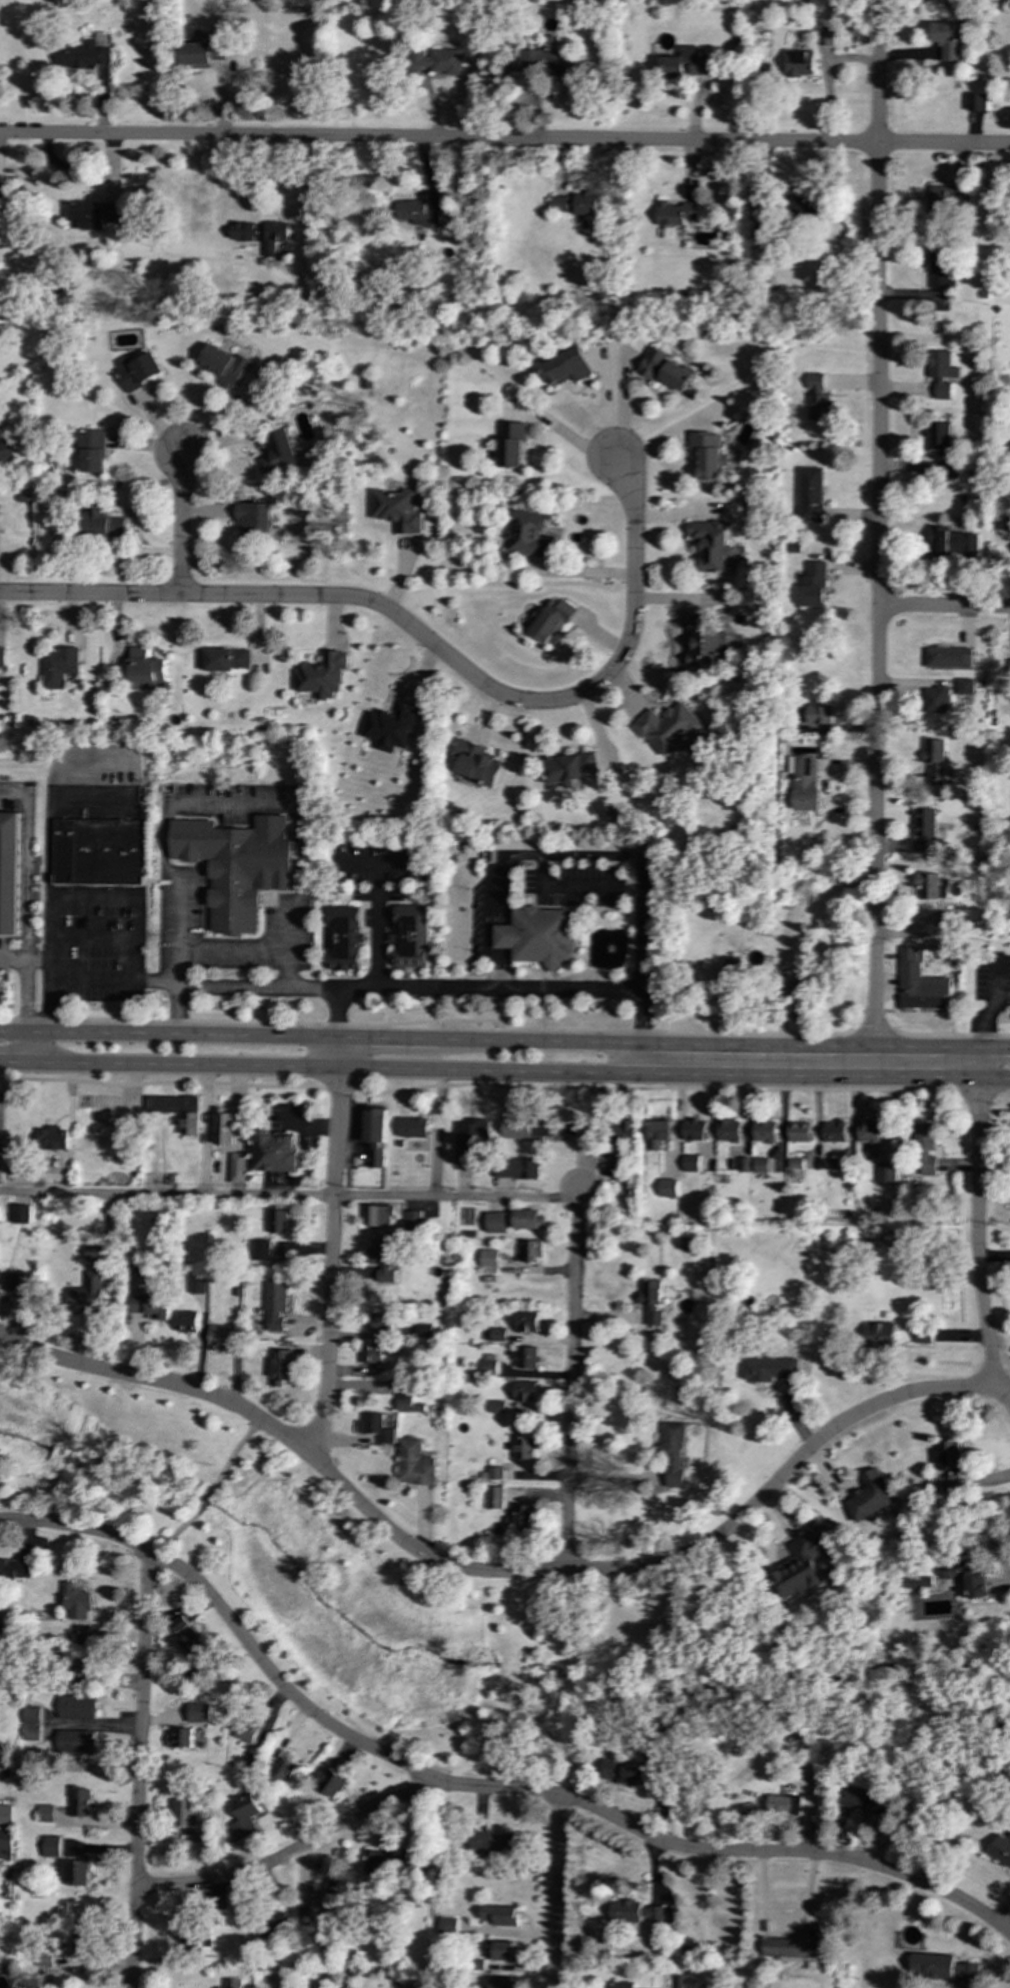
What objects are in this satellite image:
building: (825, 38)
building: (946, 40)
building: (203, 54)
building: (86, 59)
building: (436, 60)
building: (545, 62)
building: (685, 64)
building: (799, 64)
building: (975, 102)
road: (504, 140)
building: (5, 192)
building: (944, 200)
building: (558, 203)
building: (585, 203)
building: (762, 207)
building: (803, 207)
building: (416, 213)
building: (674, 213)
building: (94, 215)
building: (246, 231)
building: (276, 239)
building: (939, 266)
building: (220, 365)
building: (566, 366)
building: (136, 370)
building: (665, 370)
building: (941, 373)
building: (817, 397)
road: (621, 405)
building: (938, 437)
building: (509, 444)
building: (90, 450)
building: (5, 452)
building: (277, 452)
building: (711, 455)
building: (809, 494)
building: (395, 509)
building: (252, 518)
building: (99, 521)
road: (878, 523)
road: (180, 524)
building: (527, 534)
building: (951, 541)
building: (711, 544)
building: (814, 584)
road: (944, 607)
building: (551, 621)
road: (424, 638)
building: (702, 640)
building: (2, 656)
building: (948, 657)
building: (223, 659)
building: (58, 666)
building: (144, 666)
building: (1007, 669)
building: (322, 675)
building: (964, 686)
building: (936, 699)
building: (818, 714)
building: (392, 727)
building: (933, 762)
building: (477, 763)
building: (571, 769)
building: (803, 782)
road: (207, 800)
building: (925, 829)
building: (97, 851)
road: (595, 854)
building: (236, 866)
building: (9, 872)
road: (49, 874)
building: (930, 886)
building: (944, 918)
road: (377, 922)
building: (408, 934)
road: (788, 934)
building: (538, 935)
building: (342, 938)
road: (230, 952)
road: (24, 959)
building: (918, 982)
road: (346, 985)
road: (26, 995)
building: (797, 997)
road: (339, 1010)
road: (425, 1021)
road: (170, 1032)
road: (928, 1035)
road: (389, 1037)
road: (708, 1042)
road: (49, 1046)
road: (994, 1049)
road: (340, 1051)
road: (643, 1055)
road: (873, 1059)
road: (24, 1061)
road: (978, 1061)
road: (195, 1063)
road: (675, 1069)
road: (503, 1086)
building: (178, 1110)
building: (223, 1126)
building: (411, 1127)
building: (515, 1127)
road: (207, 1130)
building: (694, 1130)
building: (729, 1130)
building: (764, 1131)
building: (799, 1131)
building: (834, 1131)
building: (868, 1131)
road: (439, 1132)
building: (658, 1133)
building: (622, 1134)
building: (374, 1135)
building: (53, 1138)
building: (468, 1139)
building: (924, 1150)
building: (274, 1152)
building: (11, 1156)
building: (689, 1163)
building: (795, 1163)
building: (742, 1164)
building: (830, 1164)
building: (617, 1165)
building: (760, 1165)
building: (237, 1167)
building: (516, 1168)
building: (667, 1188)
road: (289, 1197)
building: (381, 1214)
building: (527, 1219)
building: (413, 1220)
building: (278, 1221)
building: (495, 1222)
road: (977, 1233)
building: (259, 1250)
building: (532, 1251)
building: (93, 1254)
building: (383, 1259)
building: (489, 1261)
road: (332, 1262)
building: (20, 1281)
building: (196, 1284)
building: (87, 1294)
building: (651, 1300)
building: (150, 1305)
building: (275, 1305)
building: (188, 1321)
building: (526, 1321)
building: (381, 1322)
building: (494, 1334)
building: (922, 1334)
building: (879, 1335)
building: (220, 1337)
road: (573, 1347)
building: (375, 1352)
building: (526, 1357)
building: (283, 1366)
building: (488, 1366)
building: (767, 1368)
building: (525, 1393)
building: (407, 1401)
building: (496, 1406)
building: (376, 1427)
building: (523, 1447)
building: (671, 1452)
road: (234, 1454)
building: (948, 1455)
building: (416, 1463)
building: (495, 1473)
building: (950, 1482)
building: (869, 1495)
building: (494, 1497)
road: (204, 1502)
building: (523, 1517)
road: (173, 1533)
building: (802, 1566)
building: (16, 1569)
road: (500, 1573)
park: (312, 1574)
building: (967, 1576)
building: (920, 1582)
road: (1008, 1586)
building: (77, 1601)
building: (86, 1635)
building: (188, 1637)
building: (82, 1669)
building: (77, 1707)
building: (198, 1712)
building: (31, 1716)
building: (251, 1733)
building: (181, 1737)
building: (76, 1742)
building: (281, 1770)
road: (139, 1771)
building: (626, 1772)
building: (813, 1772)
building: (332, 1783)
road: (474, 1787)
building: (853, 1797)
building: (669, 1800)
building: (79, 1801)
building: (785, 1804)
building: (882, 1805)
building: (184, 1812)
building: (45, 1813)
building: (6, 1814)
building: (244, 1816)
building: (207, 1838)
building: (493, 1842)
building: (5, 1844)
building: (50, 1846)
building: (1001, 1850)
road: (293, 1852)
building: (382, 1862)
building: (76, 1873)
road: (554, 1891)
building: (334, 1894)
building: (217, 1901)
building: (637, 1912)
building: (498, 1915)
building: (305, 1917)
building: (447, 1925)
building: (795, 1945)
building: (82, 1947)
building: (503, 1950)
building: (941, 1967)
building: (501, 1982)
building: (233, 1983)
building: (622, 1985)
building: (345, 1987)

